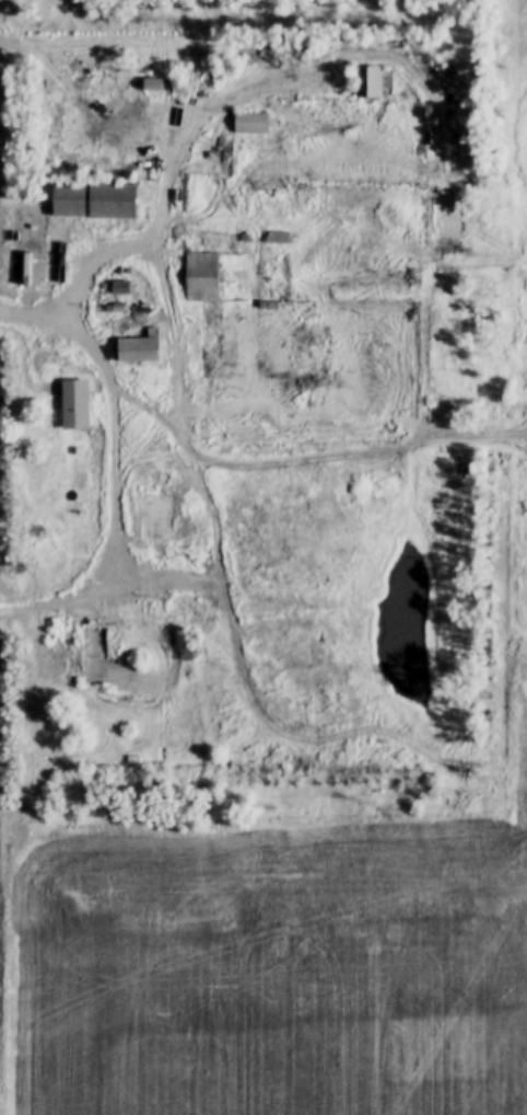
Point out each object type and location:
building: (83, 82)
silo: (83, 82)
building: (372, 82)
building: (108, 83)
silo: (108, 83)
building: (124, 84)
silo: (124, 84)
building: (138, 84)
silo: (138, 84)
building: (160, 84)
building: (184, 84)
building: (211, 84)
silo: (211, 84)
building: (197, 85)
silo: (197, 85)
building: (59, 96)
silo: (59, 96)
building: (186, 100)
silo: (186, 100)
building: (59, 112)
silo: (59, 112)
building: (255, 123)
building: (58, 125)
silo: (58, 125)
building: (148, 136)
silo: (148, 136)
building: (56, 138)
silo: (56, 138)
building: (57, 153)
silo: (57, 153)
building: (86, 166)
silo: (86, 166)
building: (106, 166)
silo: (106, 166)
building: (71, 168)
silo: (71, 168)
building: (137, 169)
silo: (137, 169)
building: (122, 170)
silo: (122, 170)
building: (269, 185)
building: (104, 200)
road: (152, 210)
building: (279, 238)
building: (247, 239)
building: (35, 245)
building: (268, 304)
building: (211, 308)
building: (147, 348)
building: (311, 348)
road: (175, 349)
building: (81, 404)
road: (342, 453)
road: (124, 467)
building: (153, 517)
building: (92, 656)

